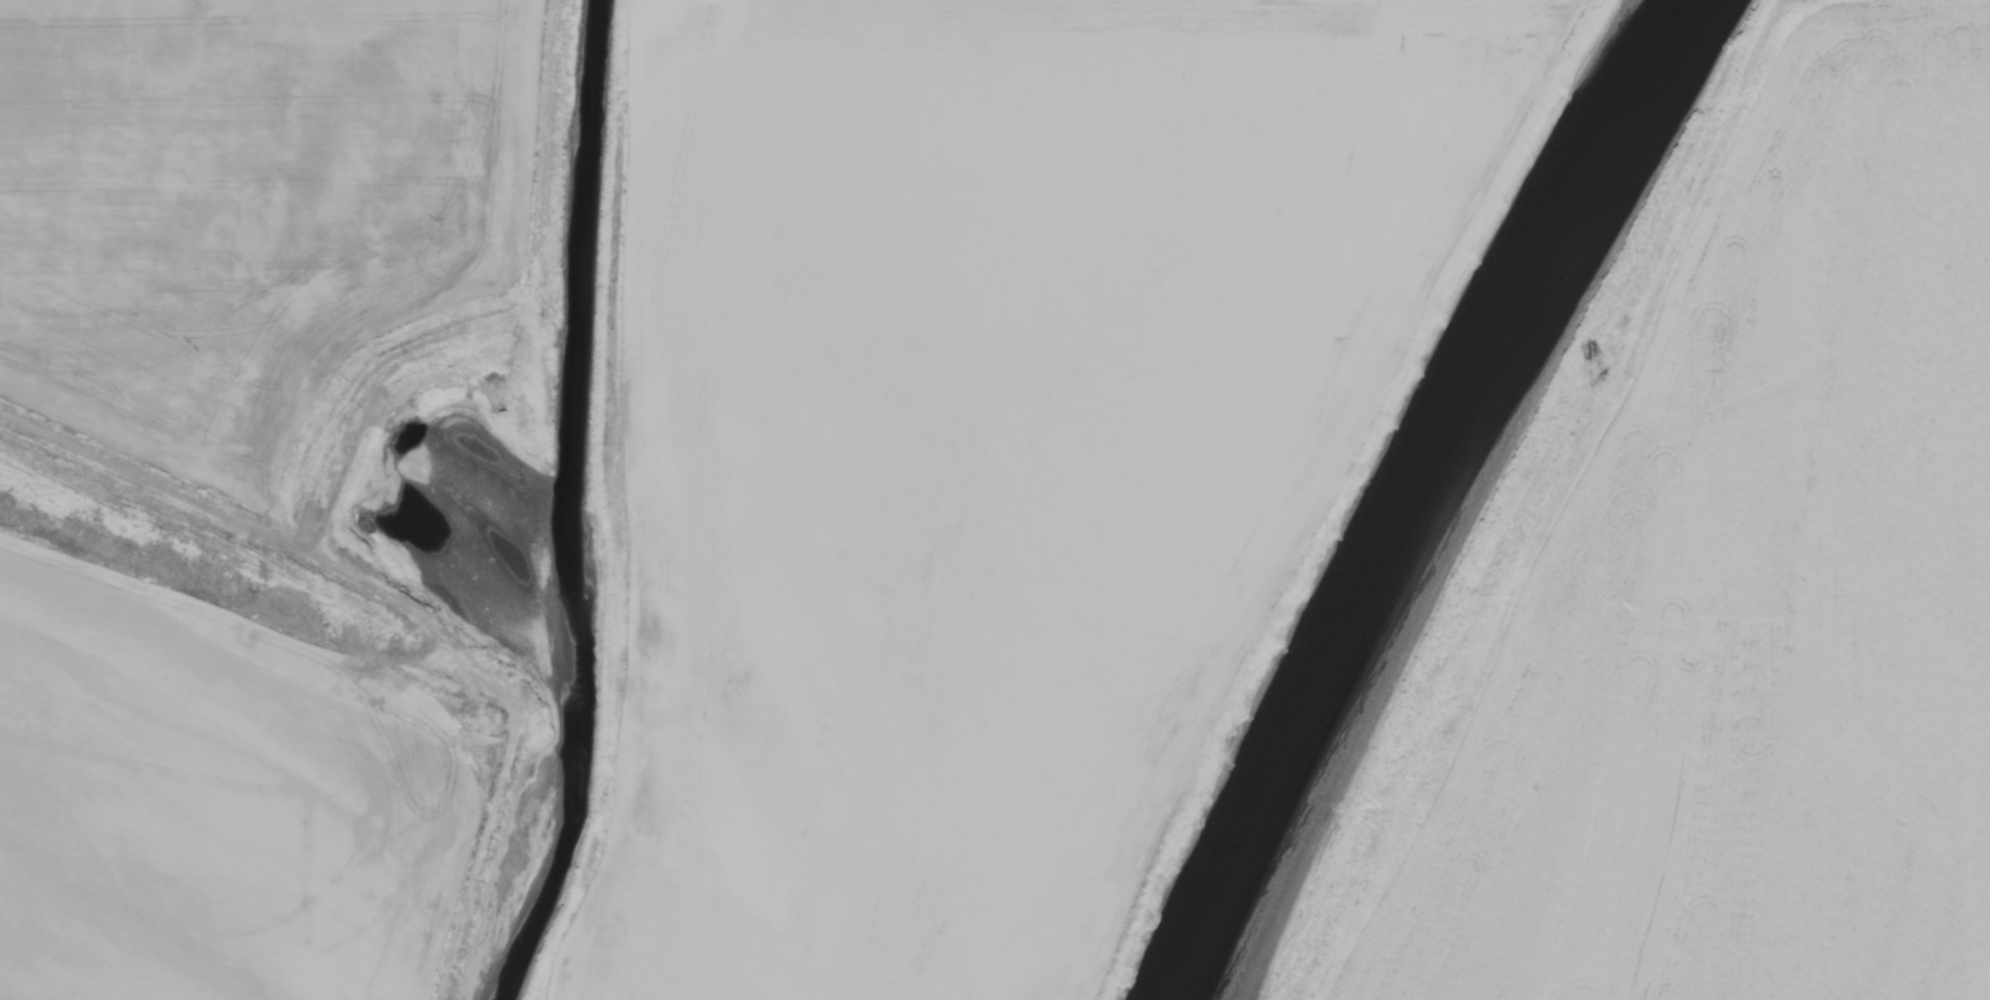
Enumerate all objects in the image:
river: (1451, 493)

